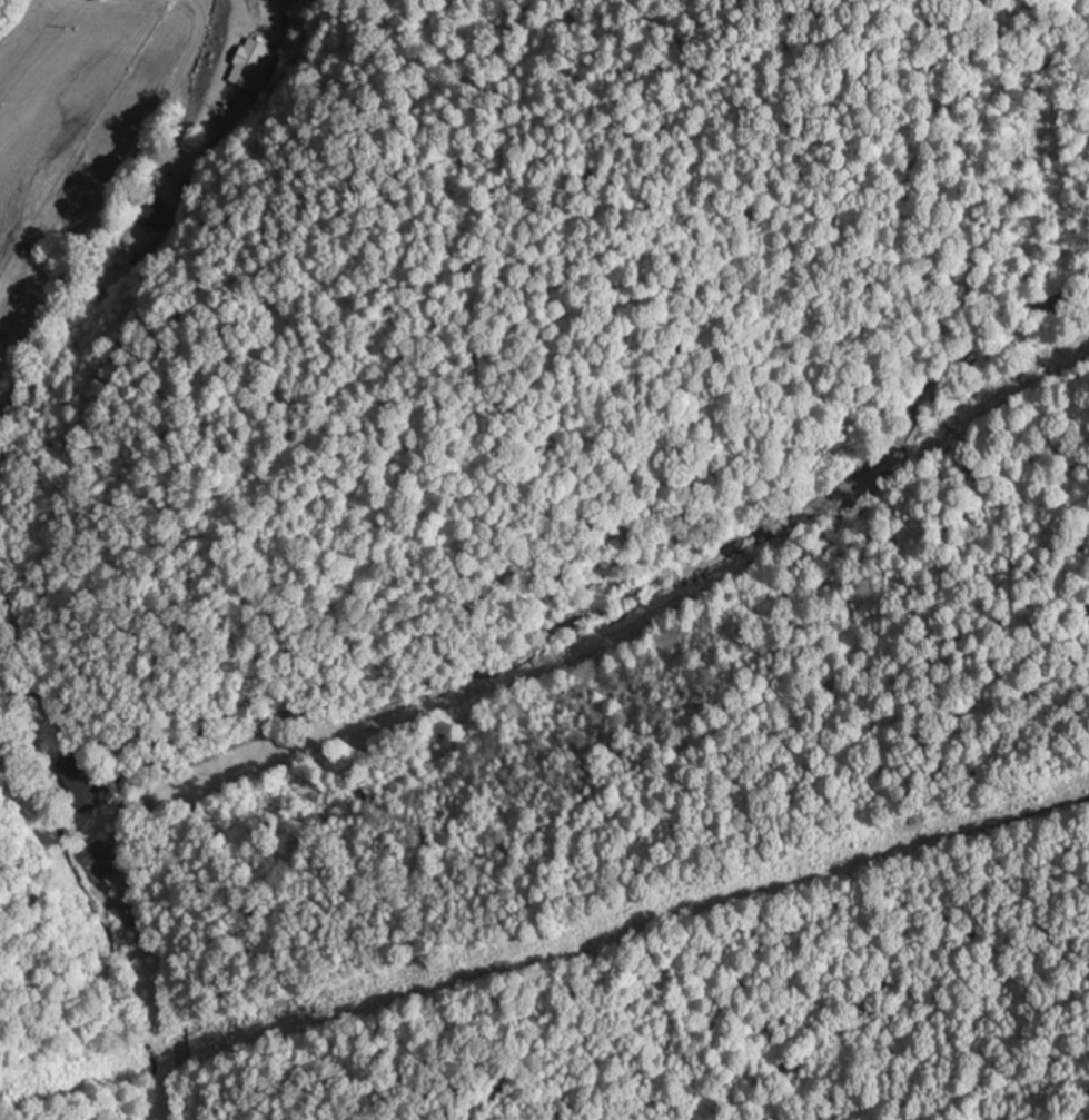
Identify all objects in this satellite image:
building: (253, 65)
building: (152, 211)
road: (98, 239)
road: (649, 587)
building: (78, 783)
road: (151, 848)
building: (98, 861)

